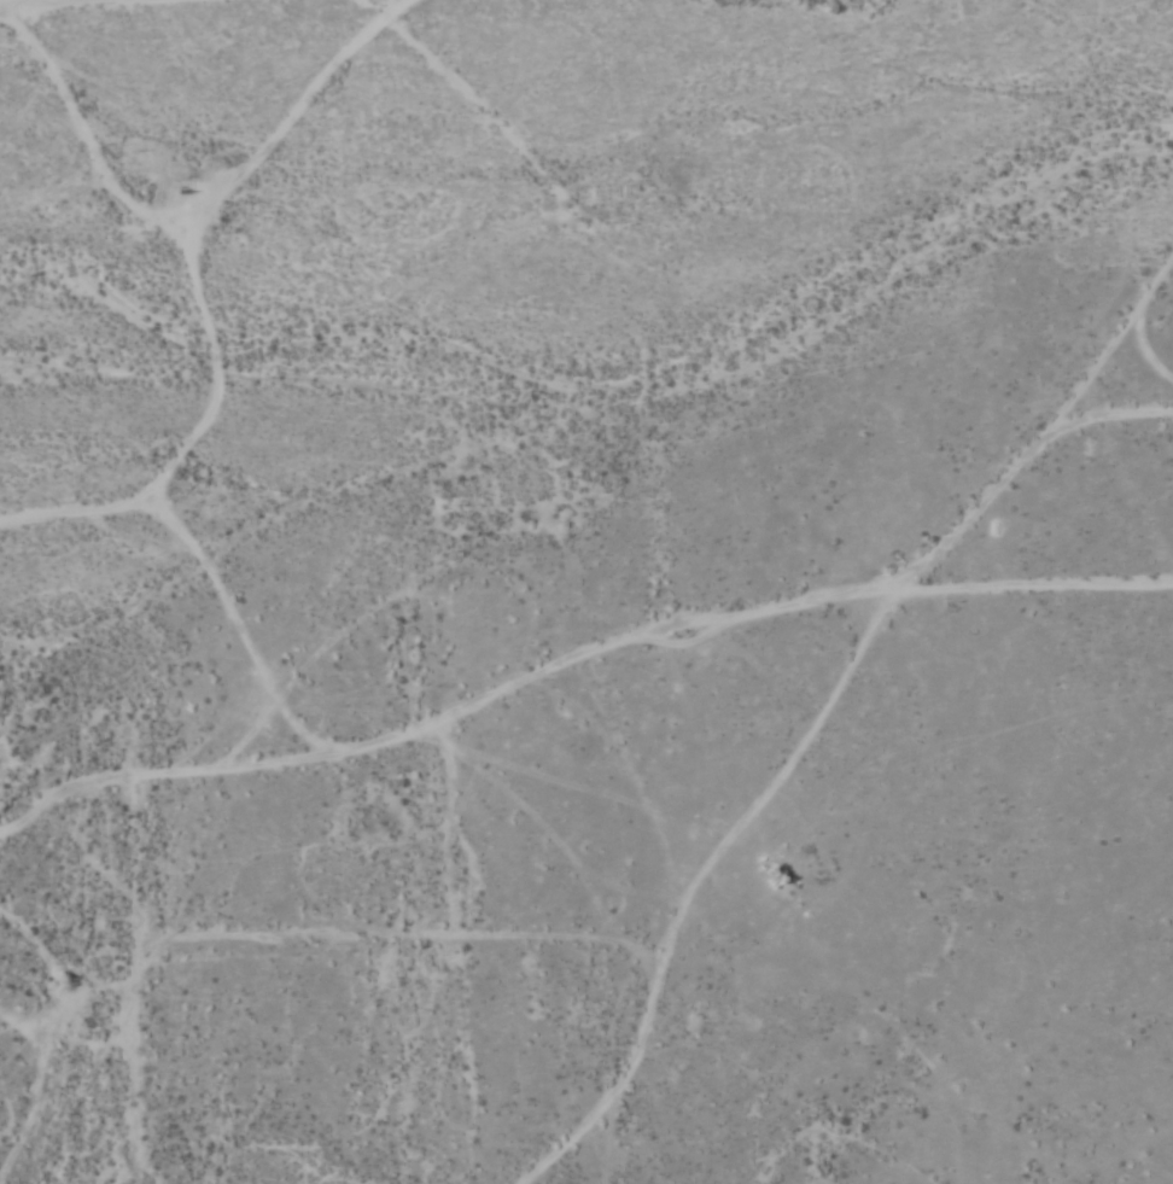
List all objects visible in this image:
road: (597, 680)

